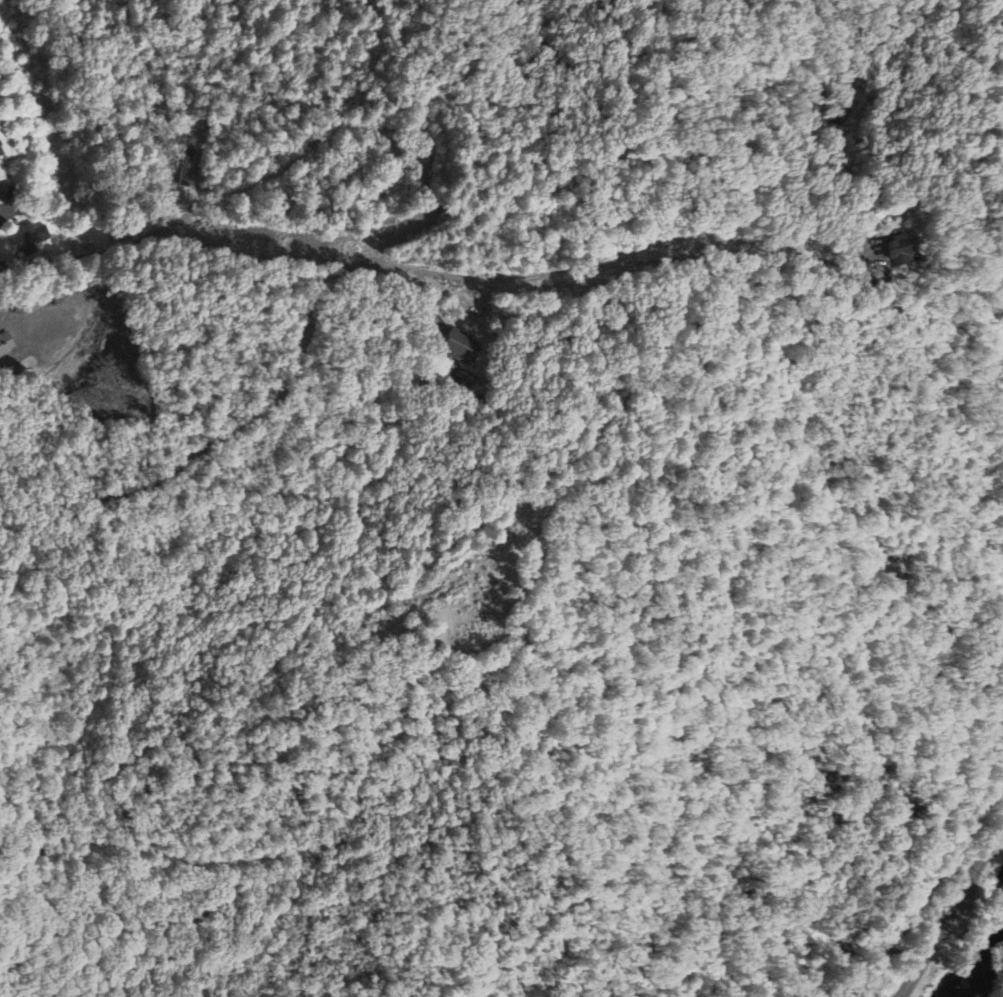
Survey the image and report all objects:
building: (0, 153)
building: (30, 239)
building: (896, 251)
road: (30, 323)
building: (6, 345)
building: (459, 347)
road: (73, 392)
railway: (927, 882)
road: (950, 908)
river: (994, 976)

